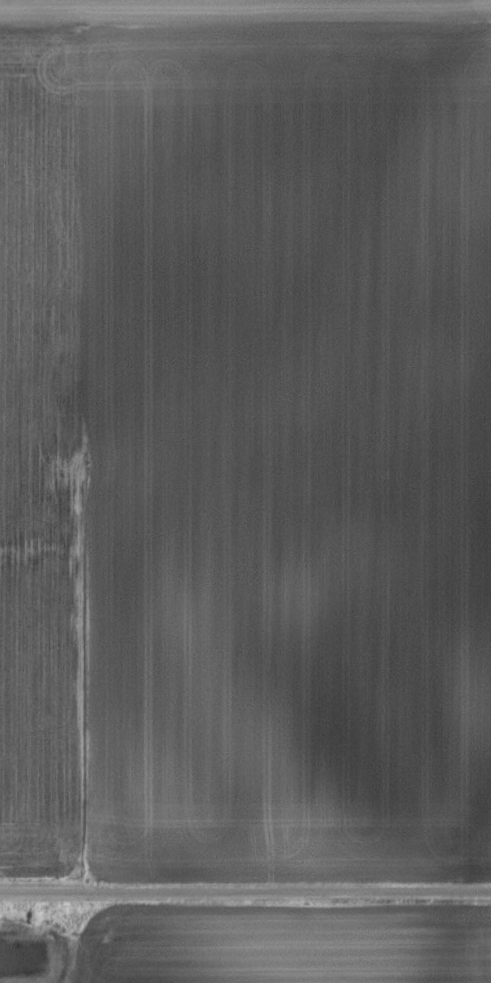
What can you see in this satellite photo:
road: (245, 897)

